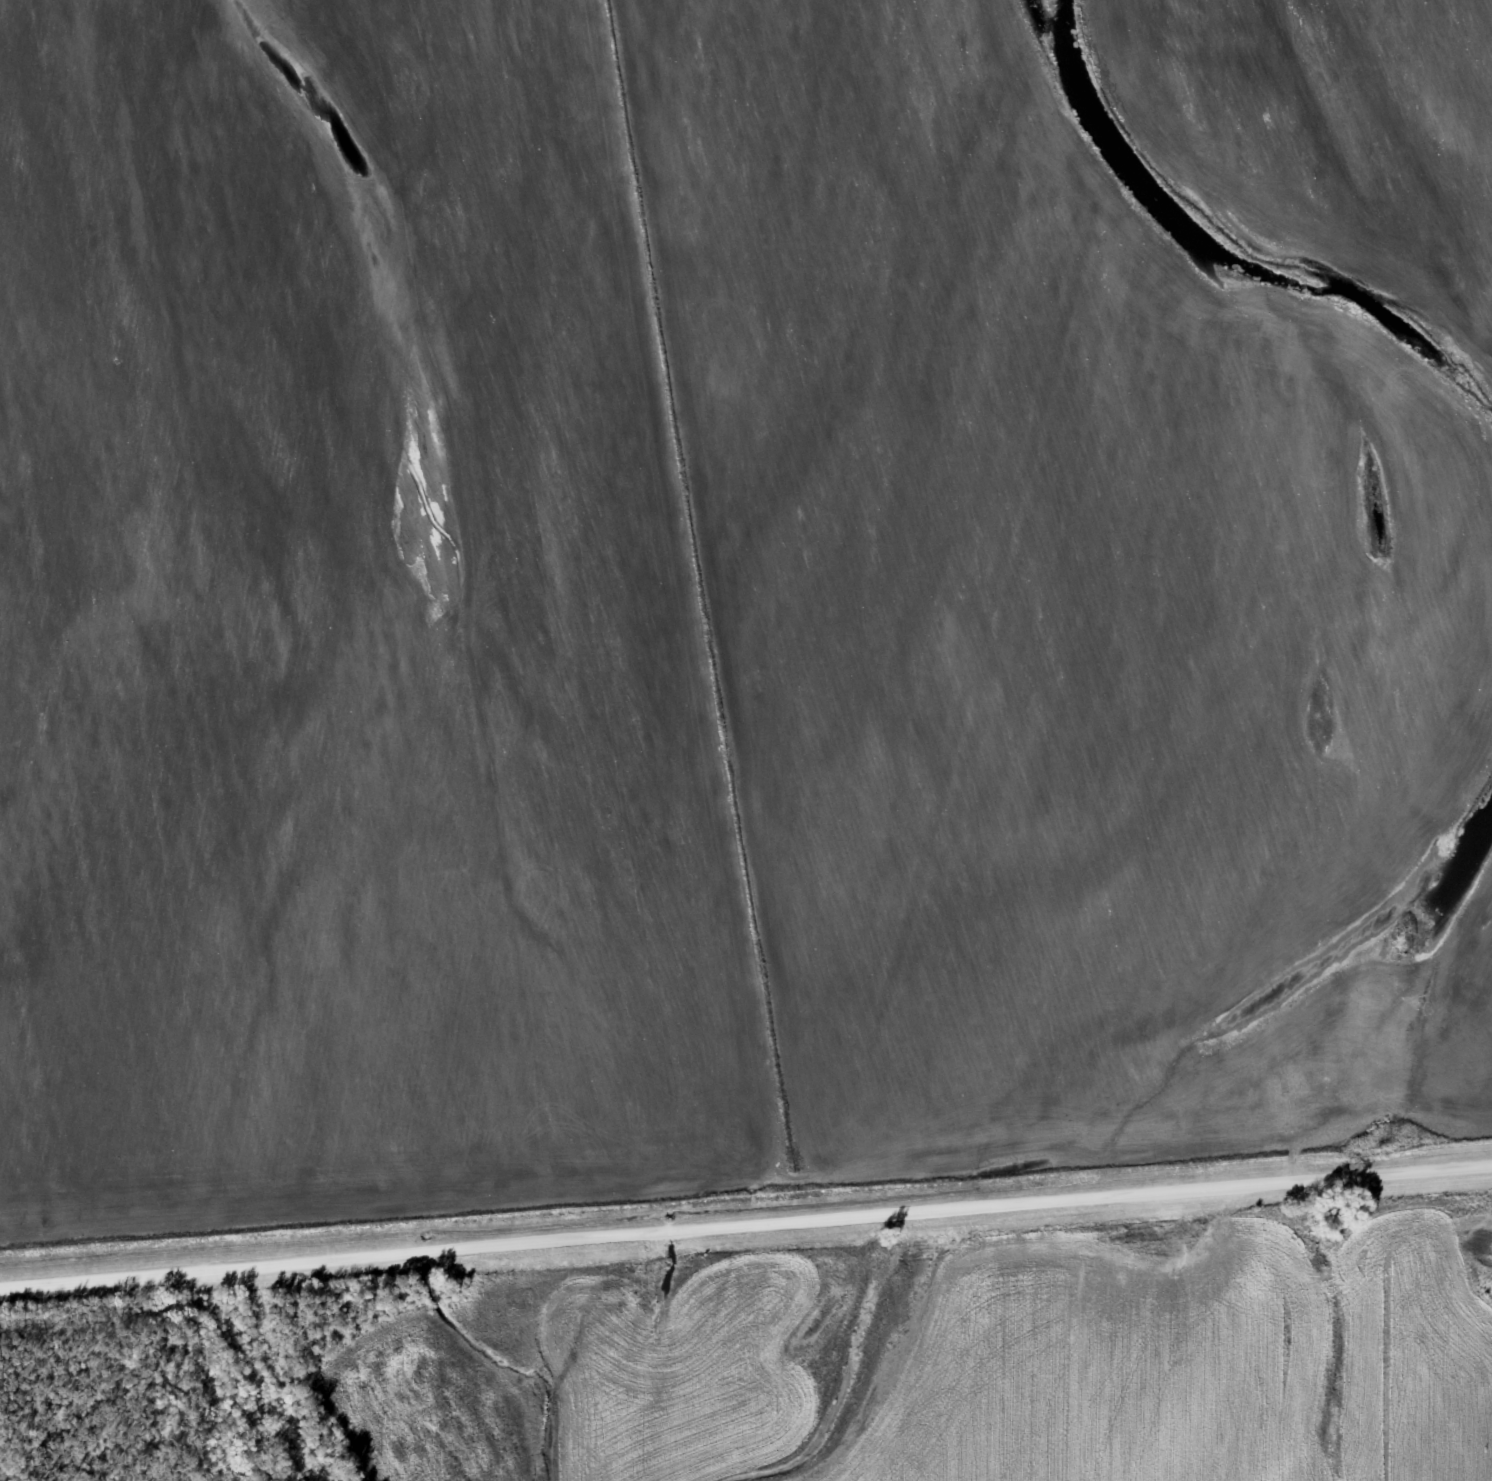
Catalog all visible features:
road: (746, 1228)

